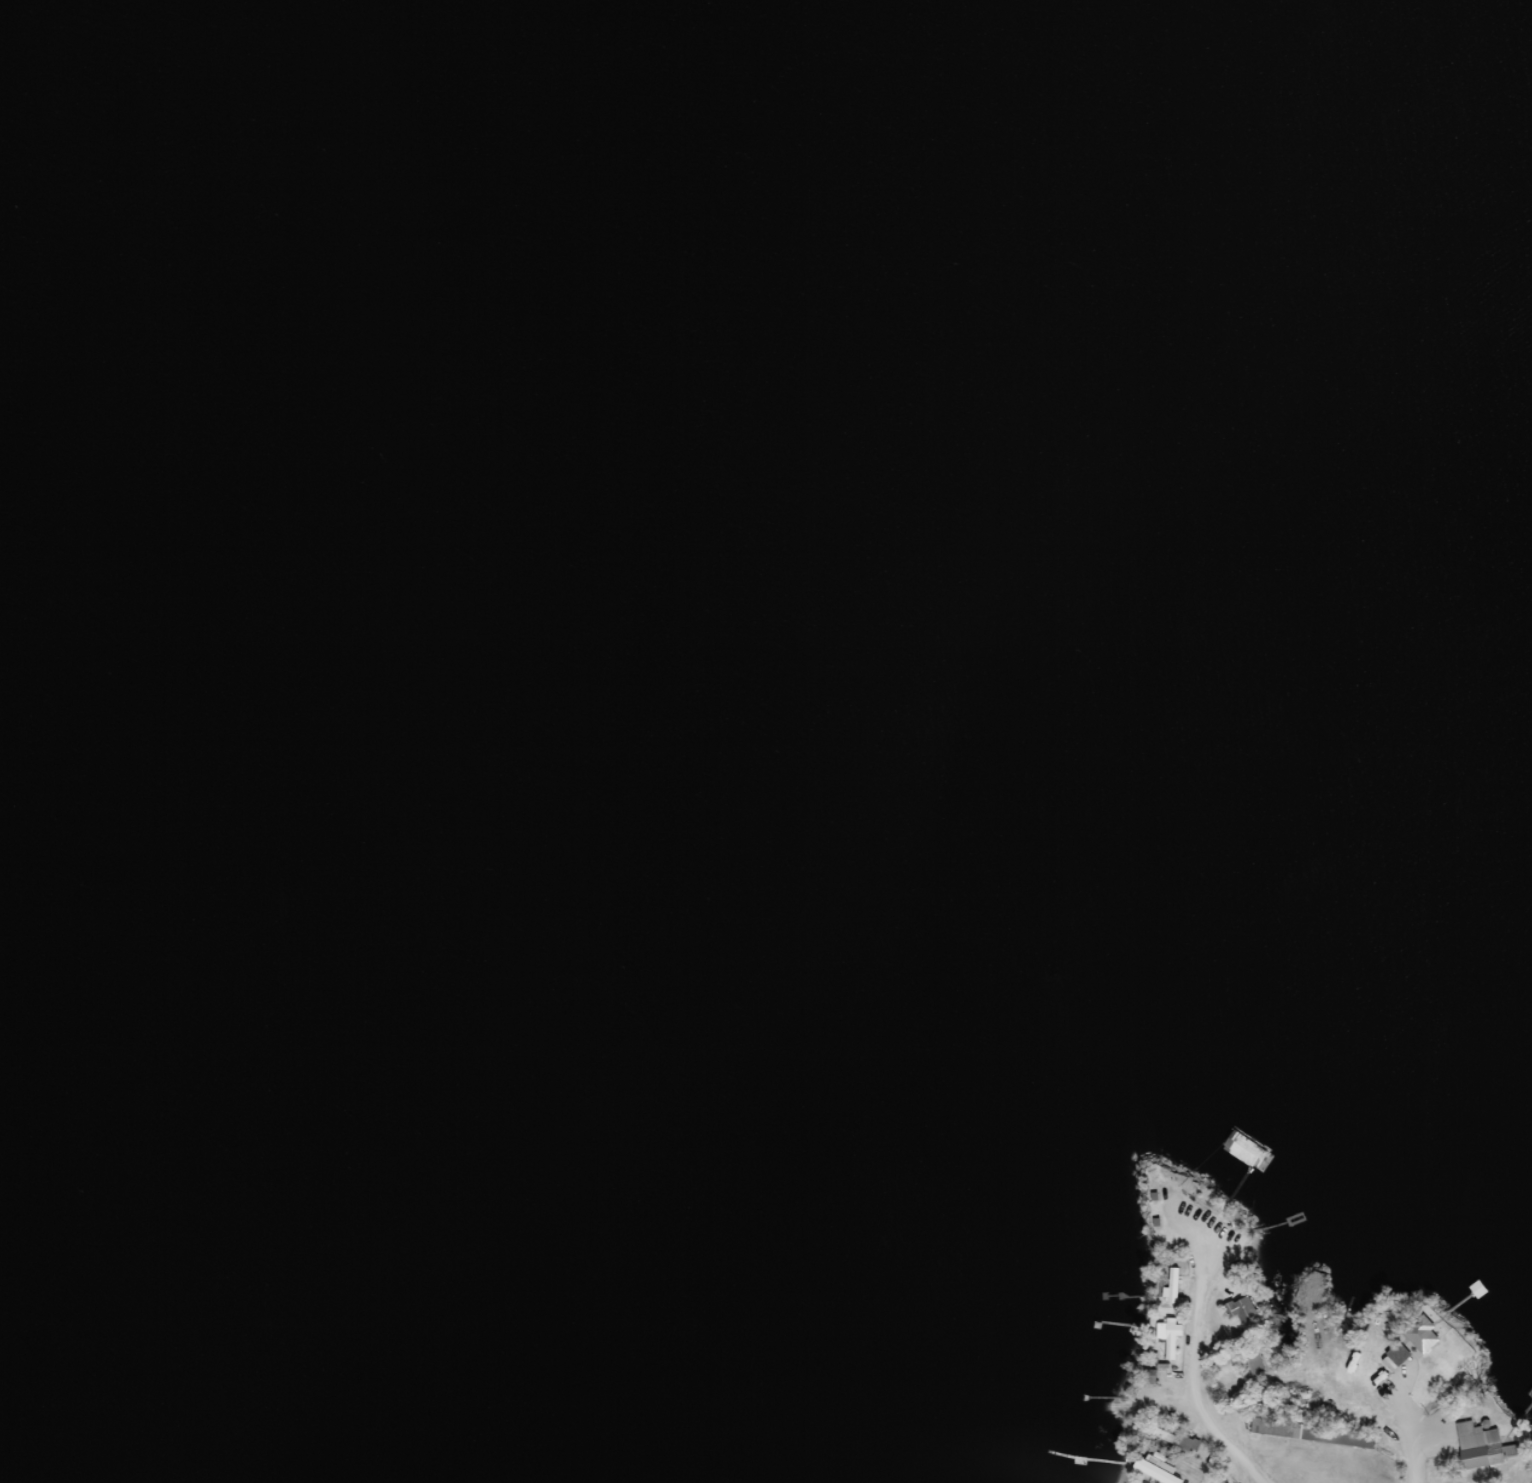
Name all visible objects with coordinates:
building: (1247, 1136)
building: (1171, 1293)
building: (1239, 1307)
building: (1421, 1333)
building: (1168, 1337)
building: (1396, 1353)
building: (1252, 1361)
road: (1189, 1370)
building: (1530, 1390)
building: (1309, 1431)
building: (1166, 1435)
building: (1480, 1445)
building: (1155, 1472)

